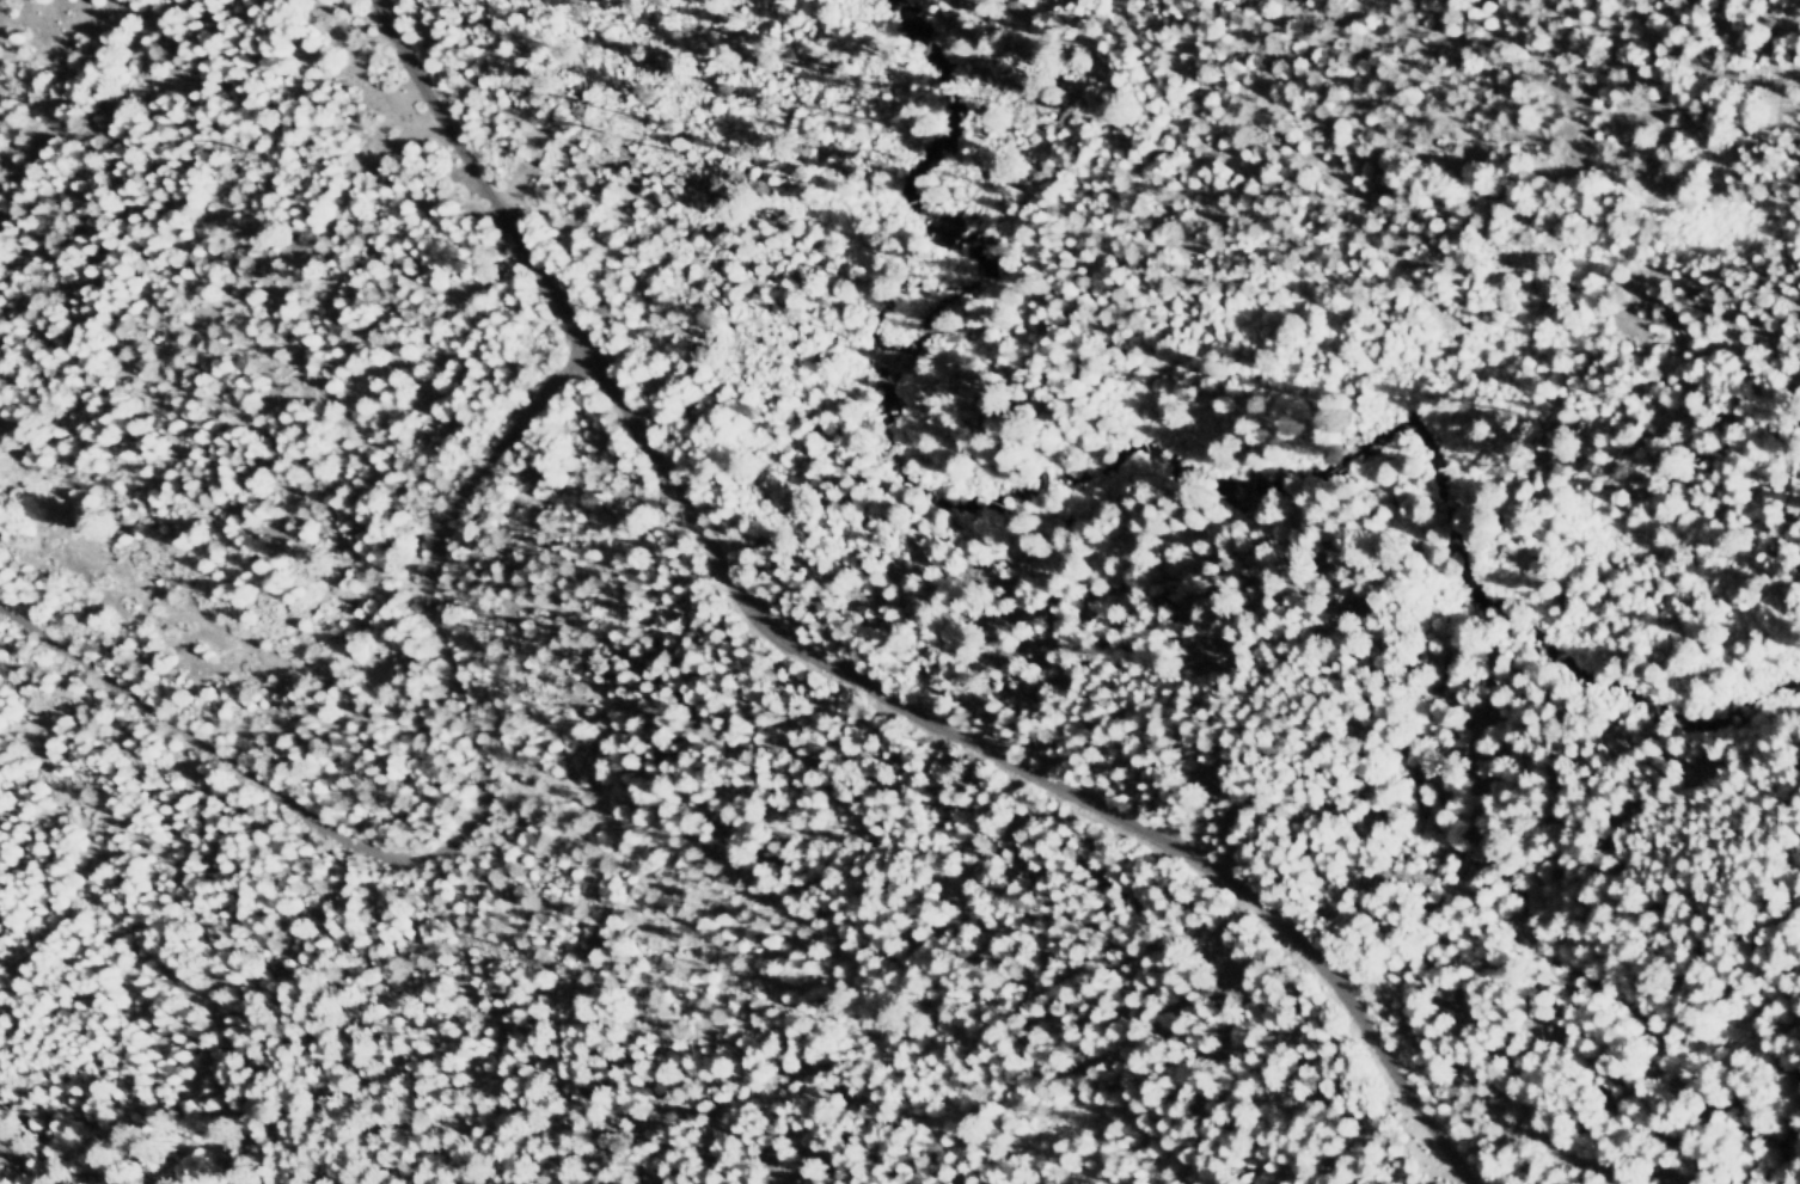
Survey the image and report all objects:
road: (880, 664)
road: (434, 816)

